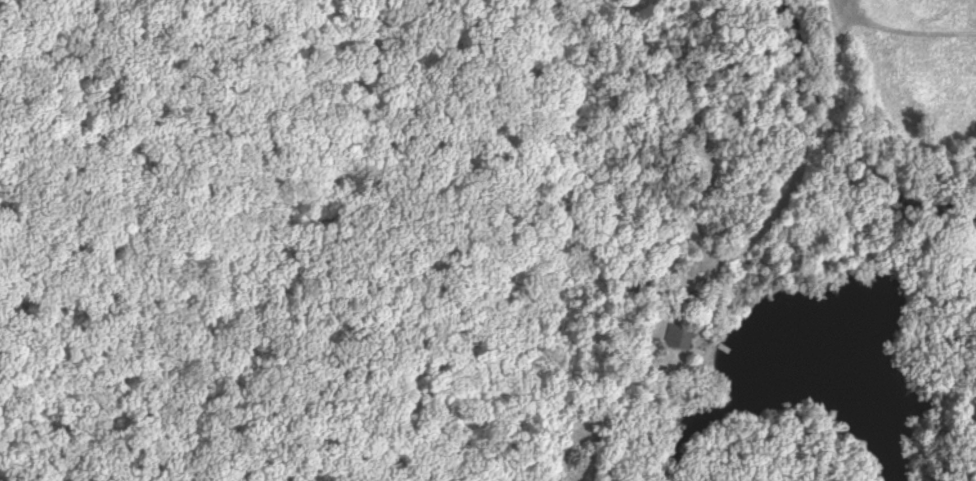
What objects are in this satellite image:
building: (679, 338)

